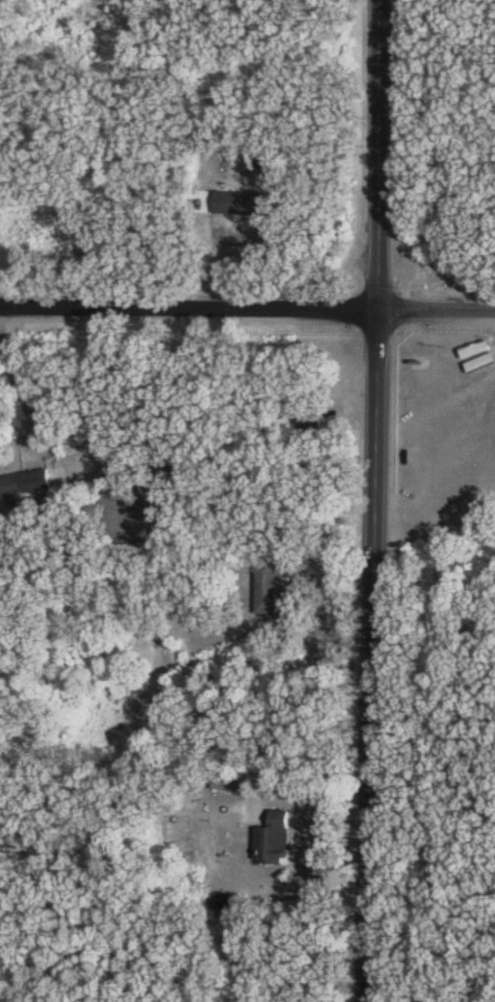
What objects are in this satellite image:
building: (245, 203)
road: (211, 250)
road: (247, 307)
road: (14, 374)
building: (25, 486)
road: (378, 501)
building: (269, 587)
building: (276, 840)

